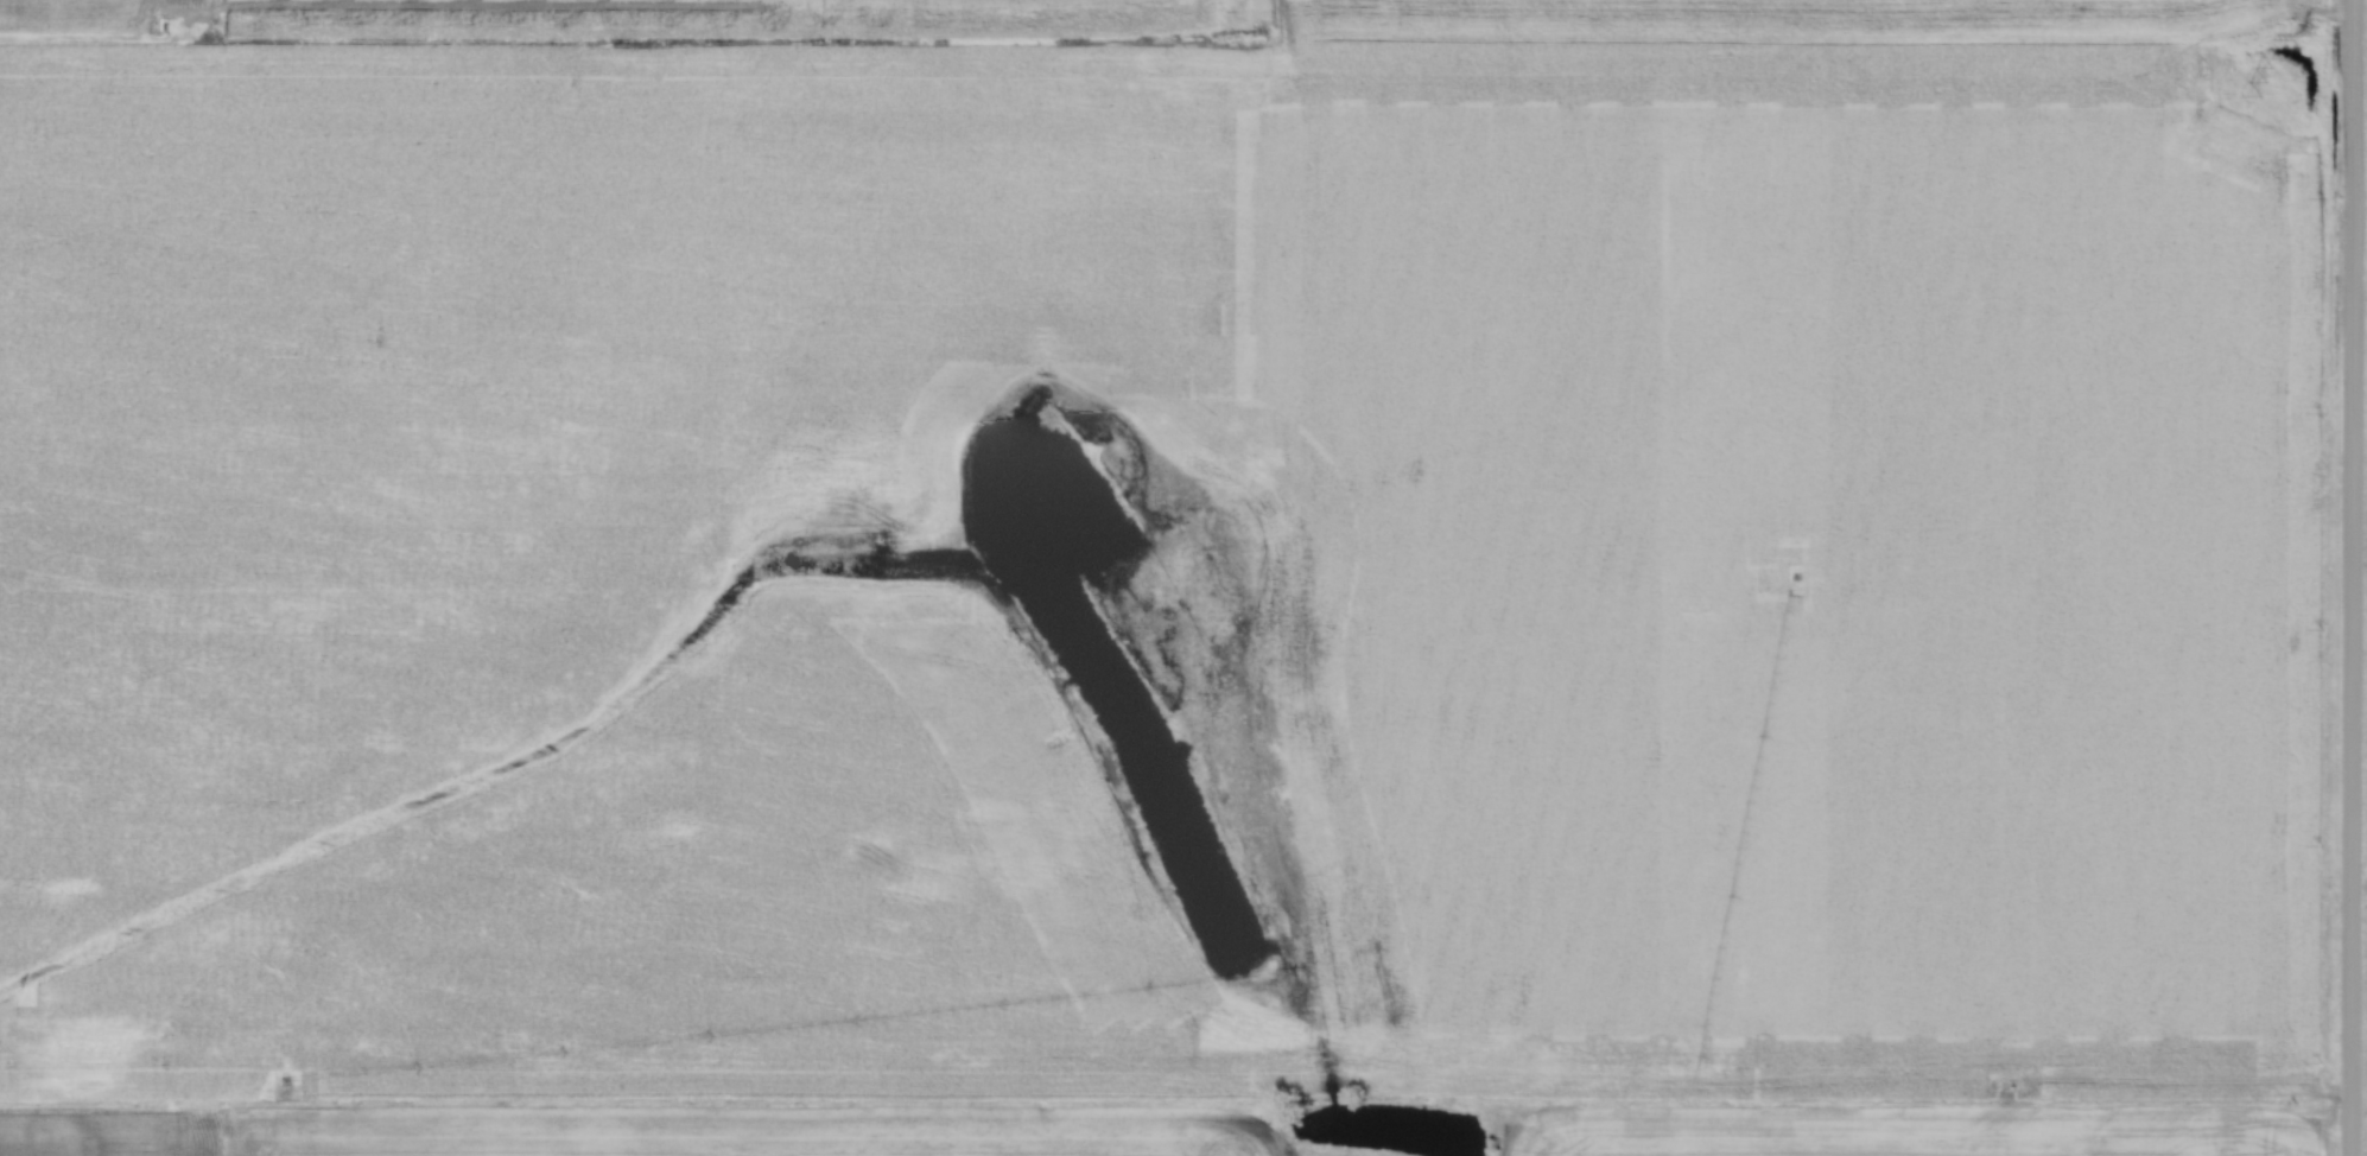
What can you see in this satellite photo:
power tower: (2312, 31)
power tower: (2265, 85)
road: (2352, 578)

